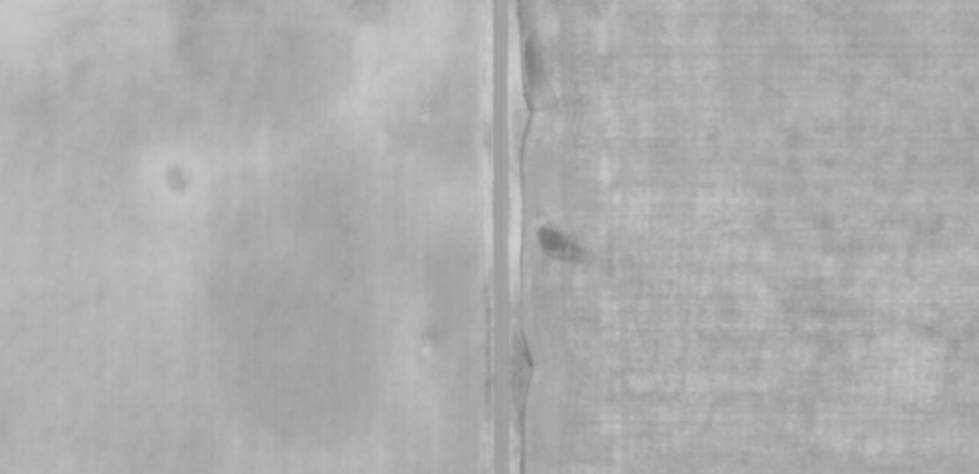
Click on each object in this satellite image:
road: (501, 236)

